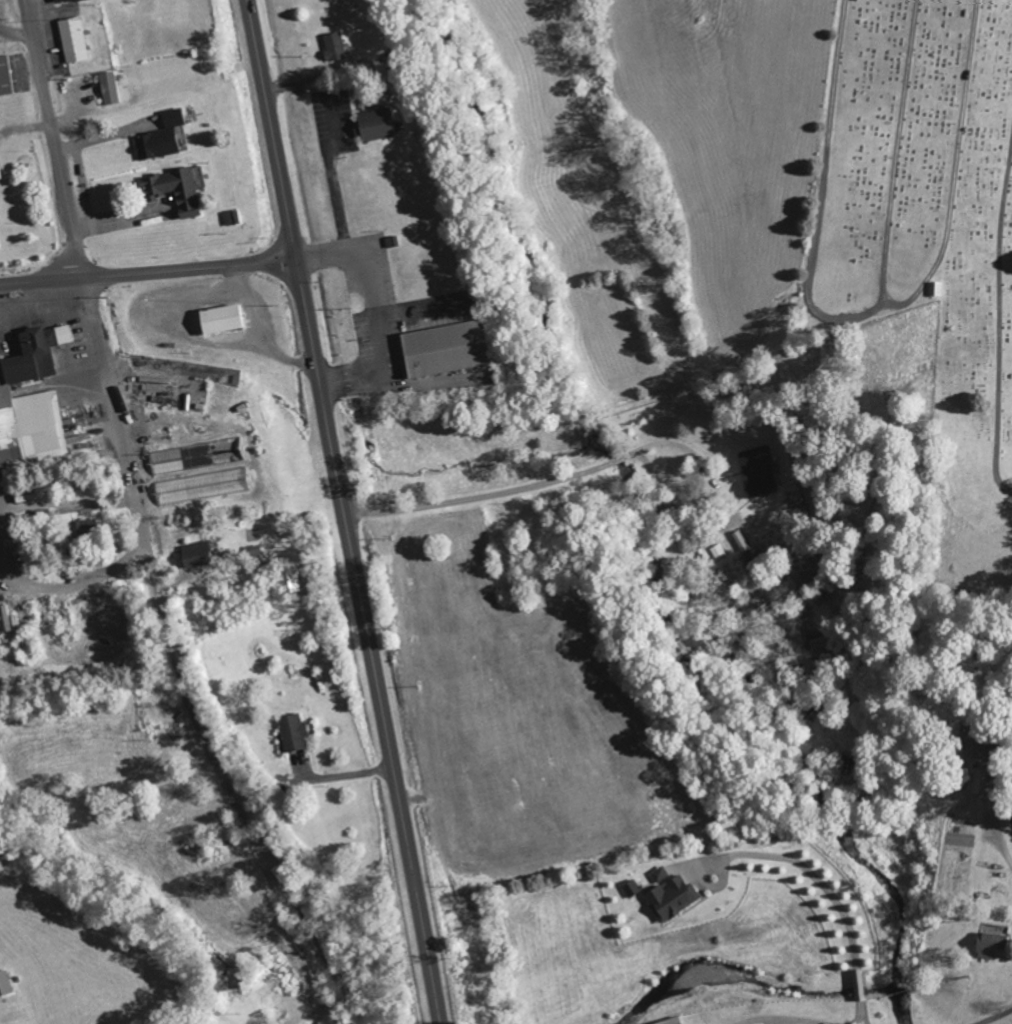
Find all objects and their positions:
building: (62, 1)
building: (74, 39)
building: (335, 47)
building: (5, 77)
building: (110, 88)
building: (375, 125)
road: (271, 129)
building: (161, 137)
road: (54, 138)
road: (958, 156)
building: (0, 173)
building: (175, 190)
building: (233, 218)
park: (927, 228)
road: (190, 267)
road: (42, 279)
building: (936, 289)
road: (893, 304)
building: (221, 319)
road: (844, 320)
road: (1001, 328)
building: (446, 349)
building: (32, 403)
building: (759, 473)
building: (203, 487)
building: (87, 528)
building: (744, 547)
building: (197, 555)
road: (150, 569)
building: (292, 581)
road: (369, 641)
building: (294, 734)
building: (985, 744)
building: (982, 781)
road: (266, 855)
building: (661, 874)
building: (632, 888)
building: (673, 899)
road: (279, 924)
building: (991, 945)
building: (6, 983)
building: (859, 985)
building: (672, 1021)

